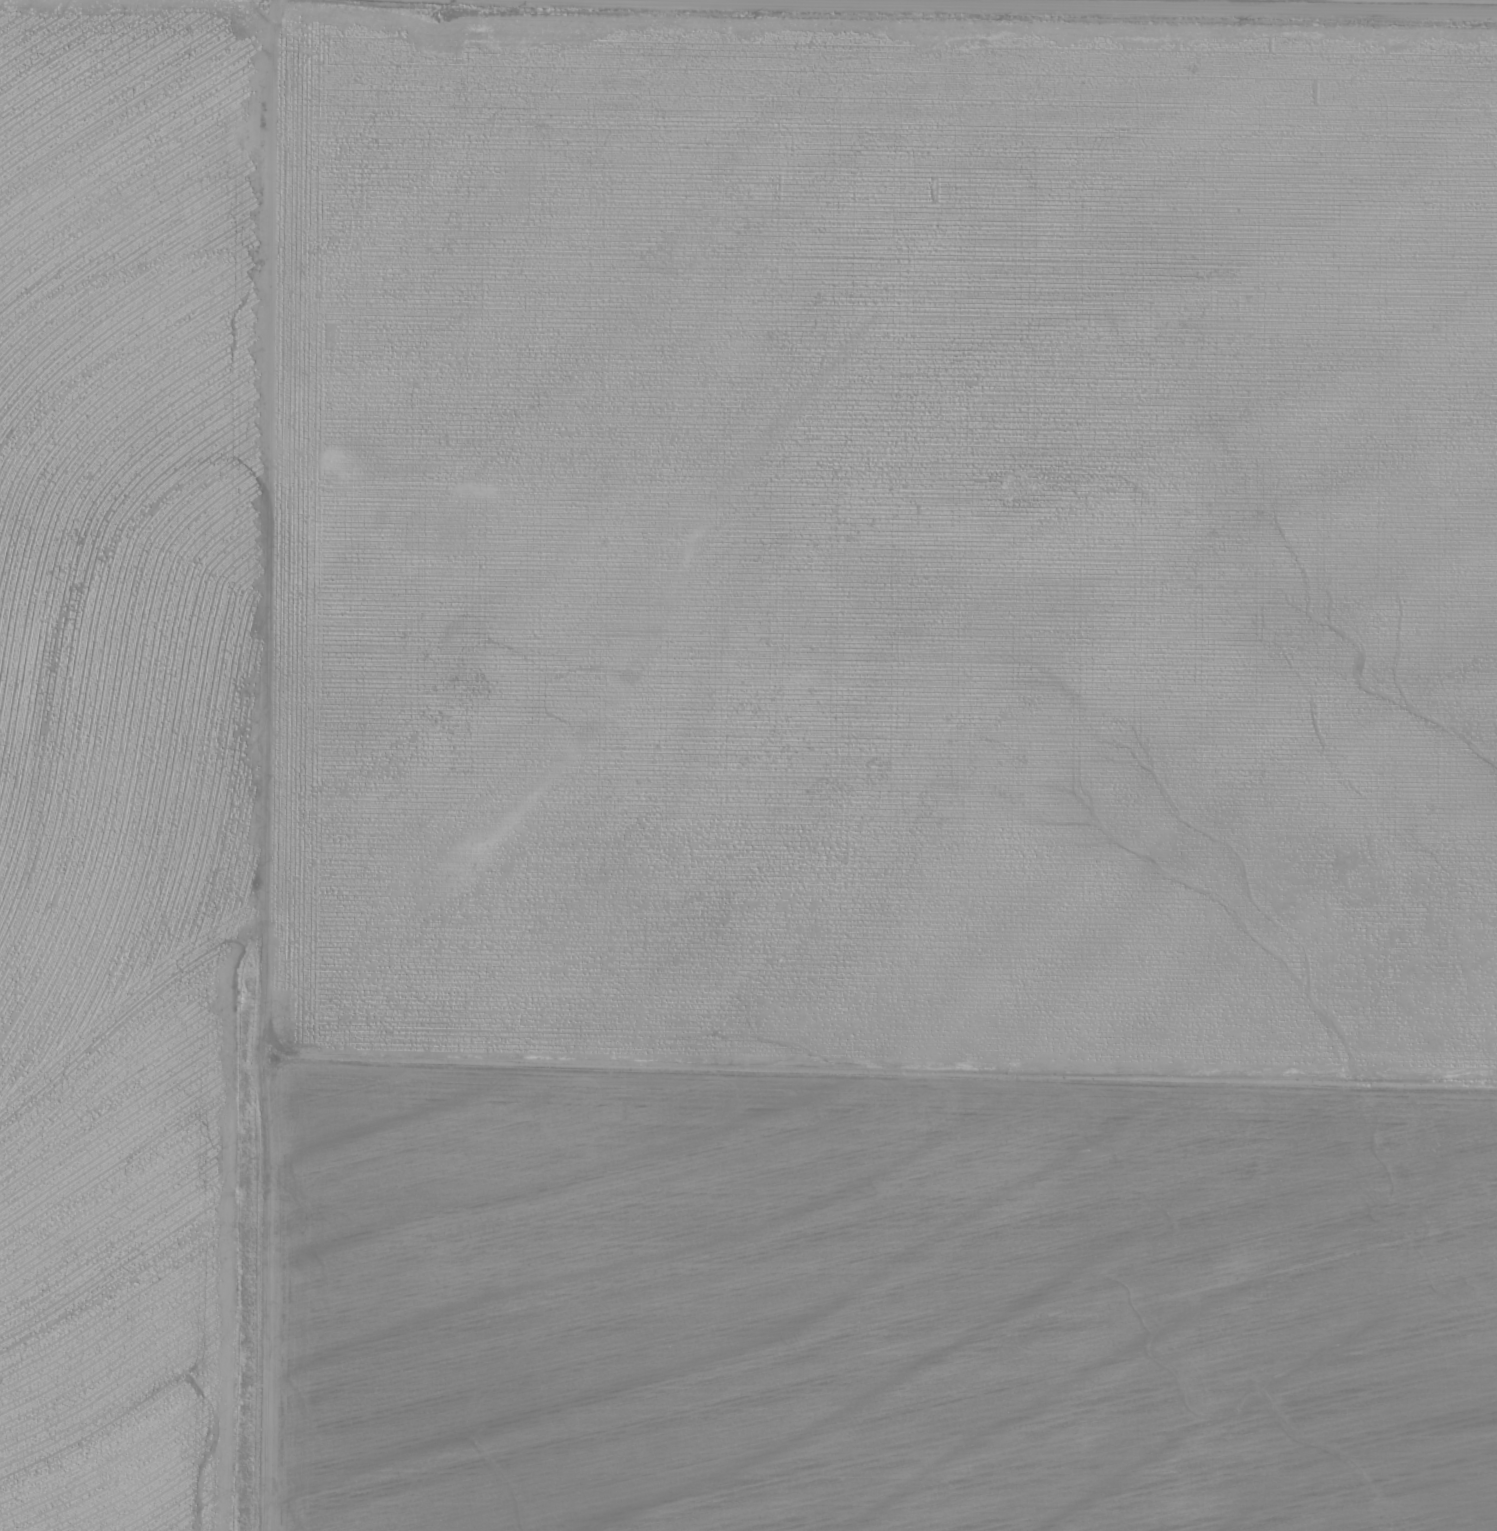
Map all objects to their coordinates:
road: (419, 1)
road: (748, 10)

